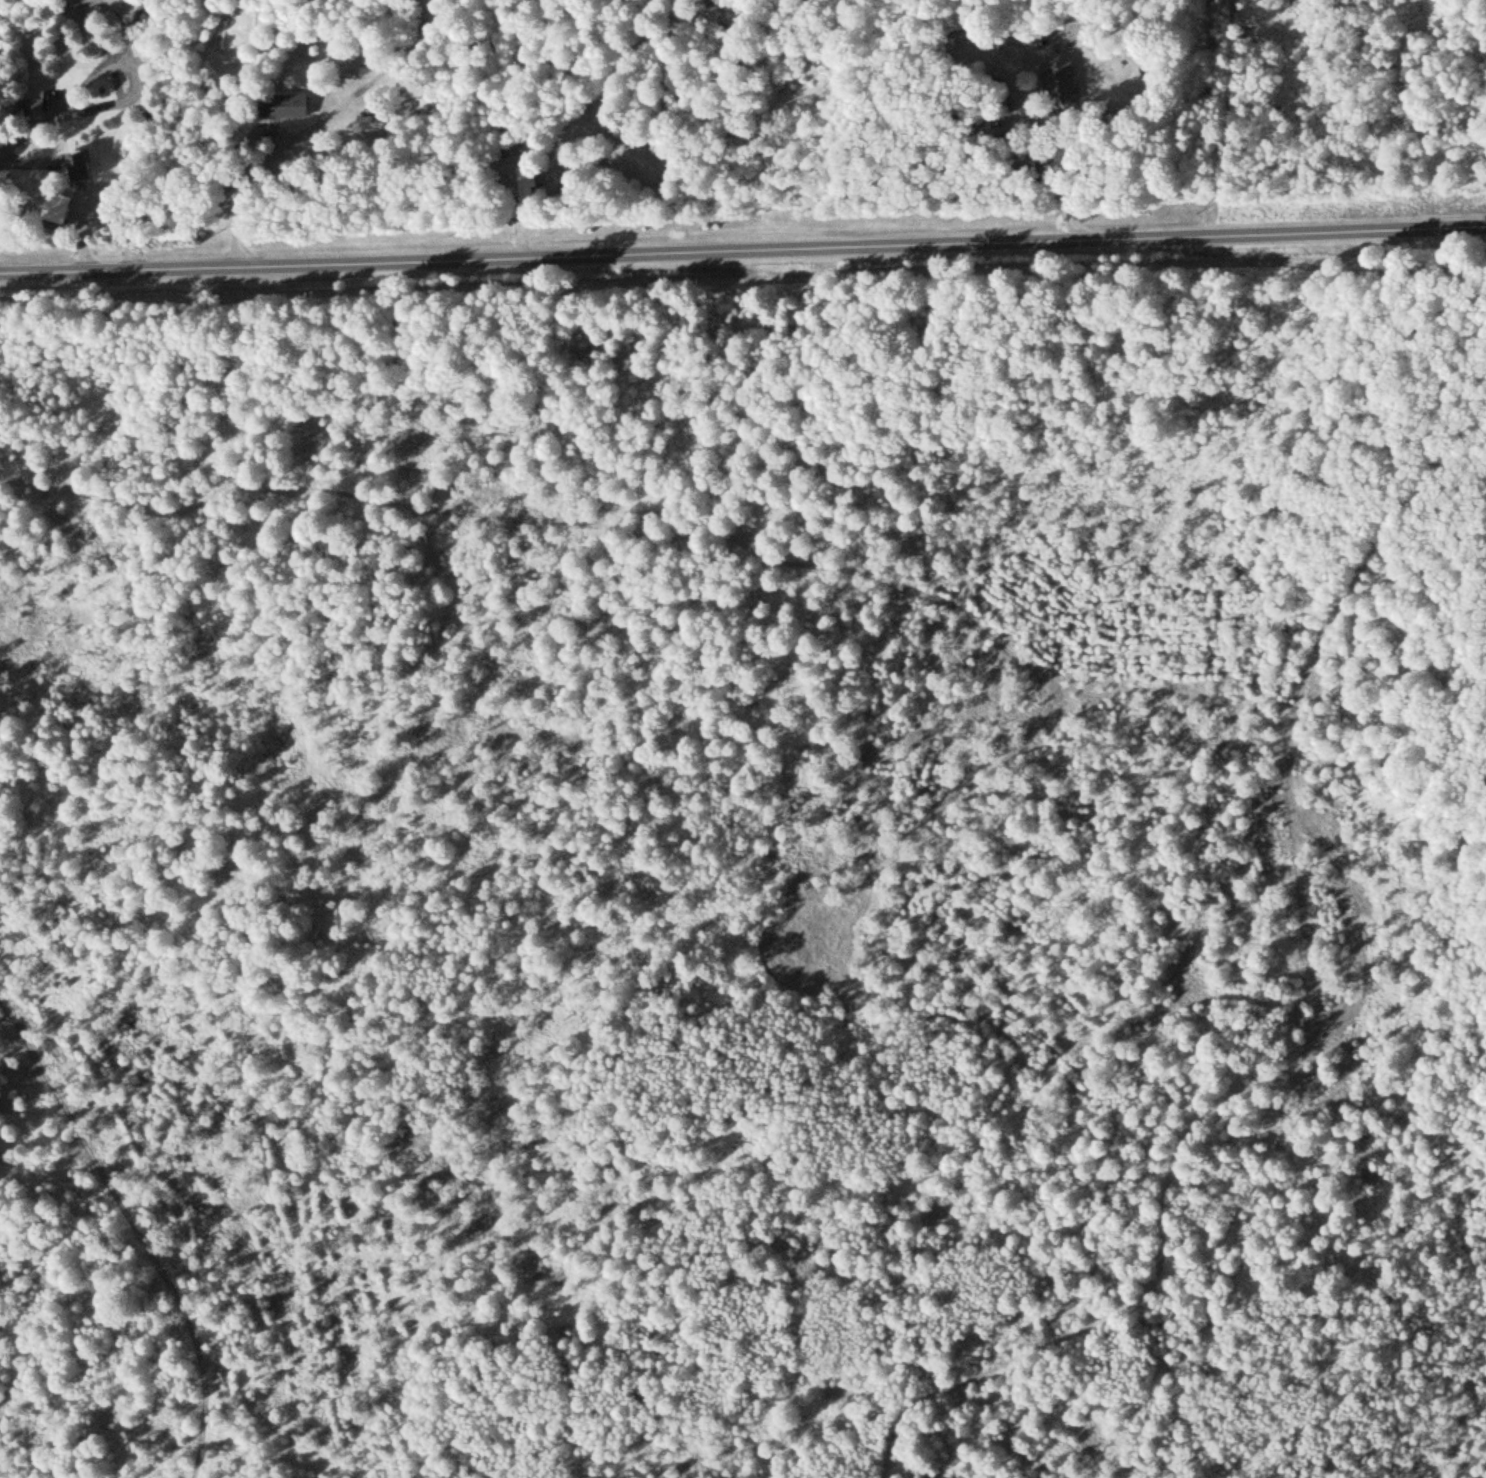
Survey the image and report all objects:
building: (1060, 84)
building: (39, 105)
building: (284, 108)
building: (378, 125)
building: (87, 164)
building: (532, 183)
road: (743, 259)
road: (137, 1228)

